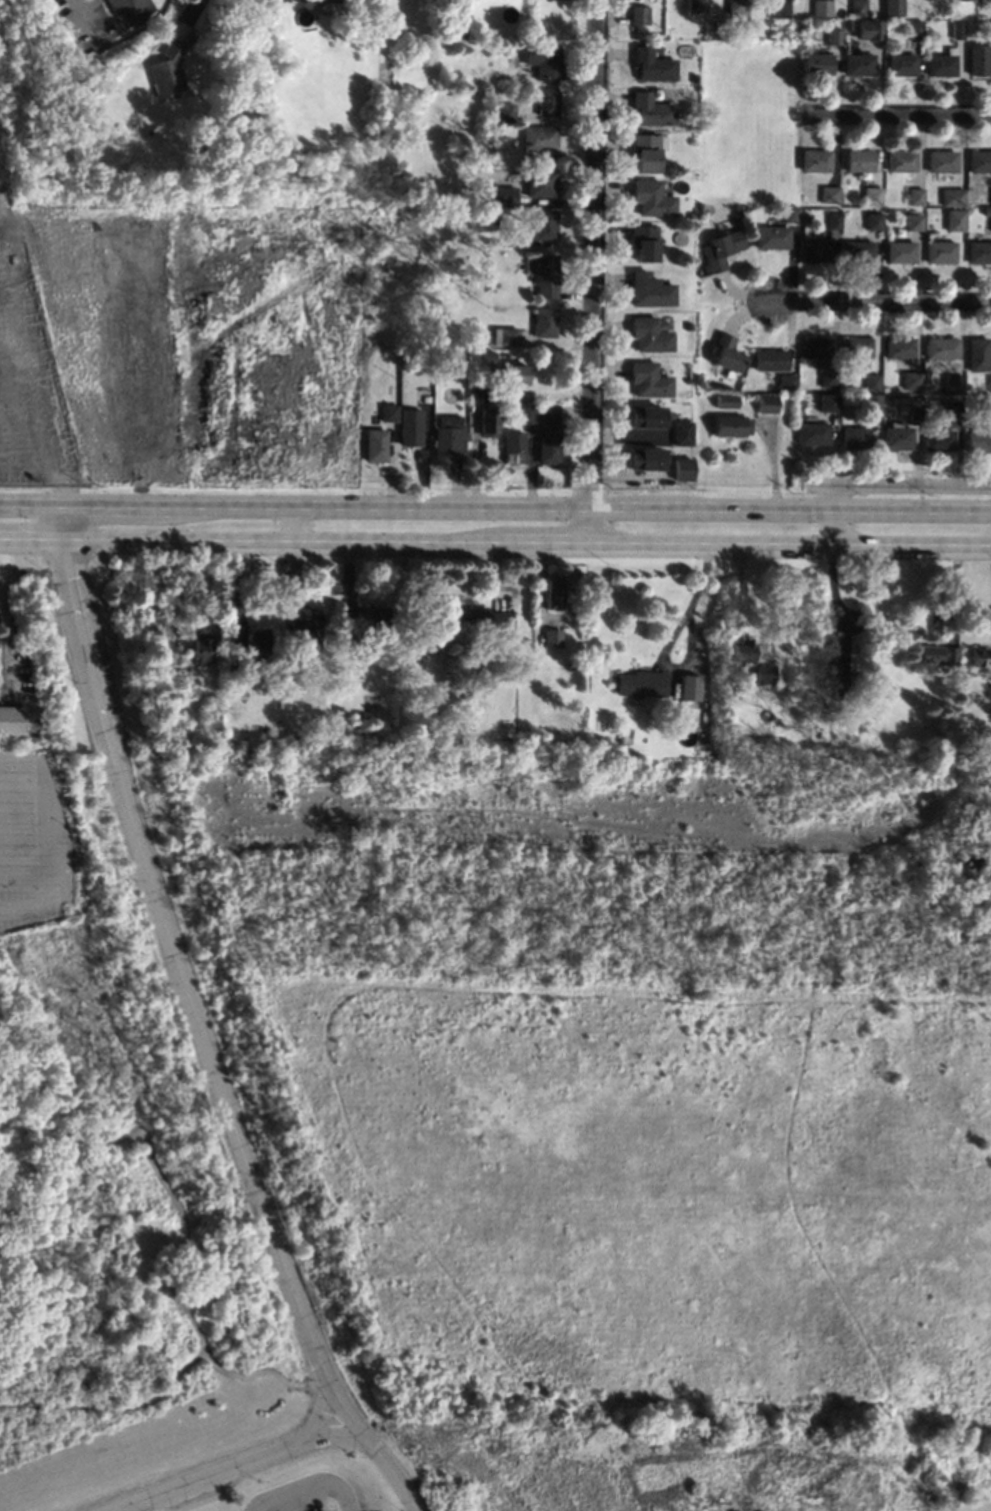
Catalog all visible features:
building: (321, 0)
building: (934, 0)
building: (968, 0)
building: (694, 4)
building: (735, 6)
building: (892, 7)
building: (776, 8)
building: (819, 8)
building: (857, 8)
road: (188, 13)
building: (637, 14)
road: (78, 19)
building: (138, 19)
building: (845, 24)
building: (915, 29)
building: (869, 30)
building: (958, 31)
building: (990, 35)
building: (832, 36)
building: (978, 58)
building: (544, 60)
building: (941, 62)
building: (817, 63)
building: (857, 63)
building: (652, 64)
building: (900, 64)
building: (167, 71)
building: (384, 75)
building: (694, 77)
building: (547, 101)
building: (652, 109)
building: (505, 112)
road: (895, 112)
building: (237, 117)
building: (227, 118)
park: (747, 122)
building: (692, 124)
building: (539, 137)
building: (646, 152)
building: (486, 155)
building: (814, 160)
building: (941, 160)
building: (979, 160)
building: (859, 161)
building: (901, 161)
building: (478, 162)
building: (494, 162)
building: (541, 182)
building: (829, 194)
building: (872, 195)
building: (915, 196)
building: (952, 196)
building: (990, 196)
building: (507, 197)
building: (652, 198)
building: (746, 208)
building: (986, 210)
building: (789, 214)
building: (692, 215)
building: (833, 220)
building: (873, 220)
building: (913, 222)
building: (955, 222)
building: (990, 222)
building: (544, 224)
building: (516, 237)
building: (772, 237)
building: (644, 241)
building: (495, 242)
building: (721, 248)
building: (814, 250)
building: (856, 251)
building: (899, 251)
building: (939, 251)
building: (978, 252)
road: (592, 271)
building: (545, 275)
building: (649, 289)
road: (878, 299)
building: (496, 319)
building: (543, 321)
building: (688, 326)
building: (650, 335)
building: (494, 336)
building: (508, 336)
building: (898, 346)
building: (855, 347)
building: (816, 348)
building: (942, 348)
building: (726, 352)
building: (977, 353)
building: (485, 357)
building: (771, 360)
building: (514, 373)
building: (828, 377)
building: (648, 379)
building: (911, 380)
building: (871, 381)
building: (786, 383)
building: (952, 383)
building: (989, 383)
building: (512, 391)
building: (477, 393)
building: (424, 397)
building: (925, 399)
building: (727, 401)
building: (828, 402)
building: (766, 403)
building: (870, 403)
building: (990, 406)
building: (948, 408)
building: (388, 412)
building: (525, 413)
building: (913, 414)
building: (548, 415)
building: (645, 416)
building: (488, 422)
building: (730, 425)
building: (409, 427)
building: (681, 433)
building: (812, 433)
building: (896, 436)
building: (854, 437)
building: (448, 438)
building: (937, 440)
building: (977, 442)
building: (374, 445)
building: (513, 447)
building: (548, 447)
building: (645, 458)
road: (773, 459)
building: (682, 468)
road: (899, 484)
road: (27, 503)
road: (522, 507)
road: (835, 515)
road: (55, 521)
road: (291, 523)
road: (27, 538)
road: (523, 543)
building: (555, 593)
road: (836, 603)
building: (577, 607)
road: (692, 607)
building: (481, 618)
building: (361, 619)
building: (304, 626)
building: (552, 636)
building: (257, 641)
building: (200, 648)
building: (742, 651)
building: (827, 651)
building: (937, 654)
building: (980, 656)
building: (165, 661)
building: (233, 666)
building: (570, 666)
building: (764, 674)
building: (642, 684)
building: (739, 685)
building: (688, 686)
building: (842, 691)
building: (165, 694)
building: (828, 716)
building: (11, 719)
building: (263, 730)
building: (623, 734)
building: (287, 736)
building: (369, 738)
building: (726, 738)
building: (452, 739)
road: (62, 839)
road: (203, 1039)
road: (336, 1435)
road: (244, 1461)
road: (320, 1484)

